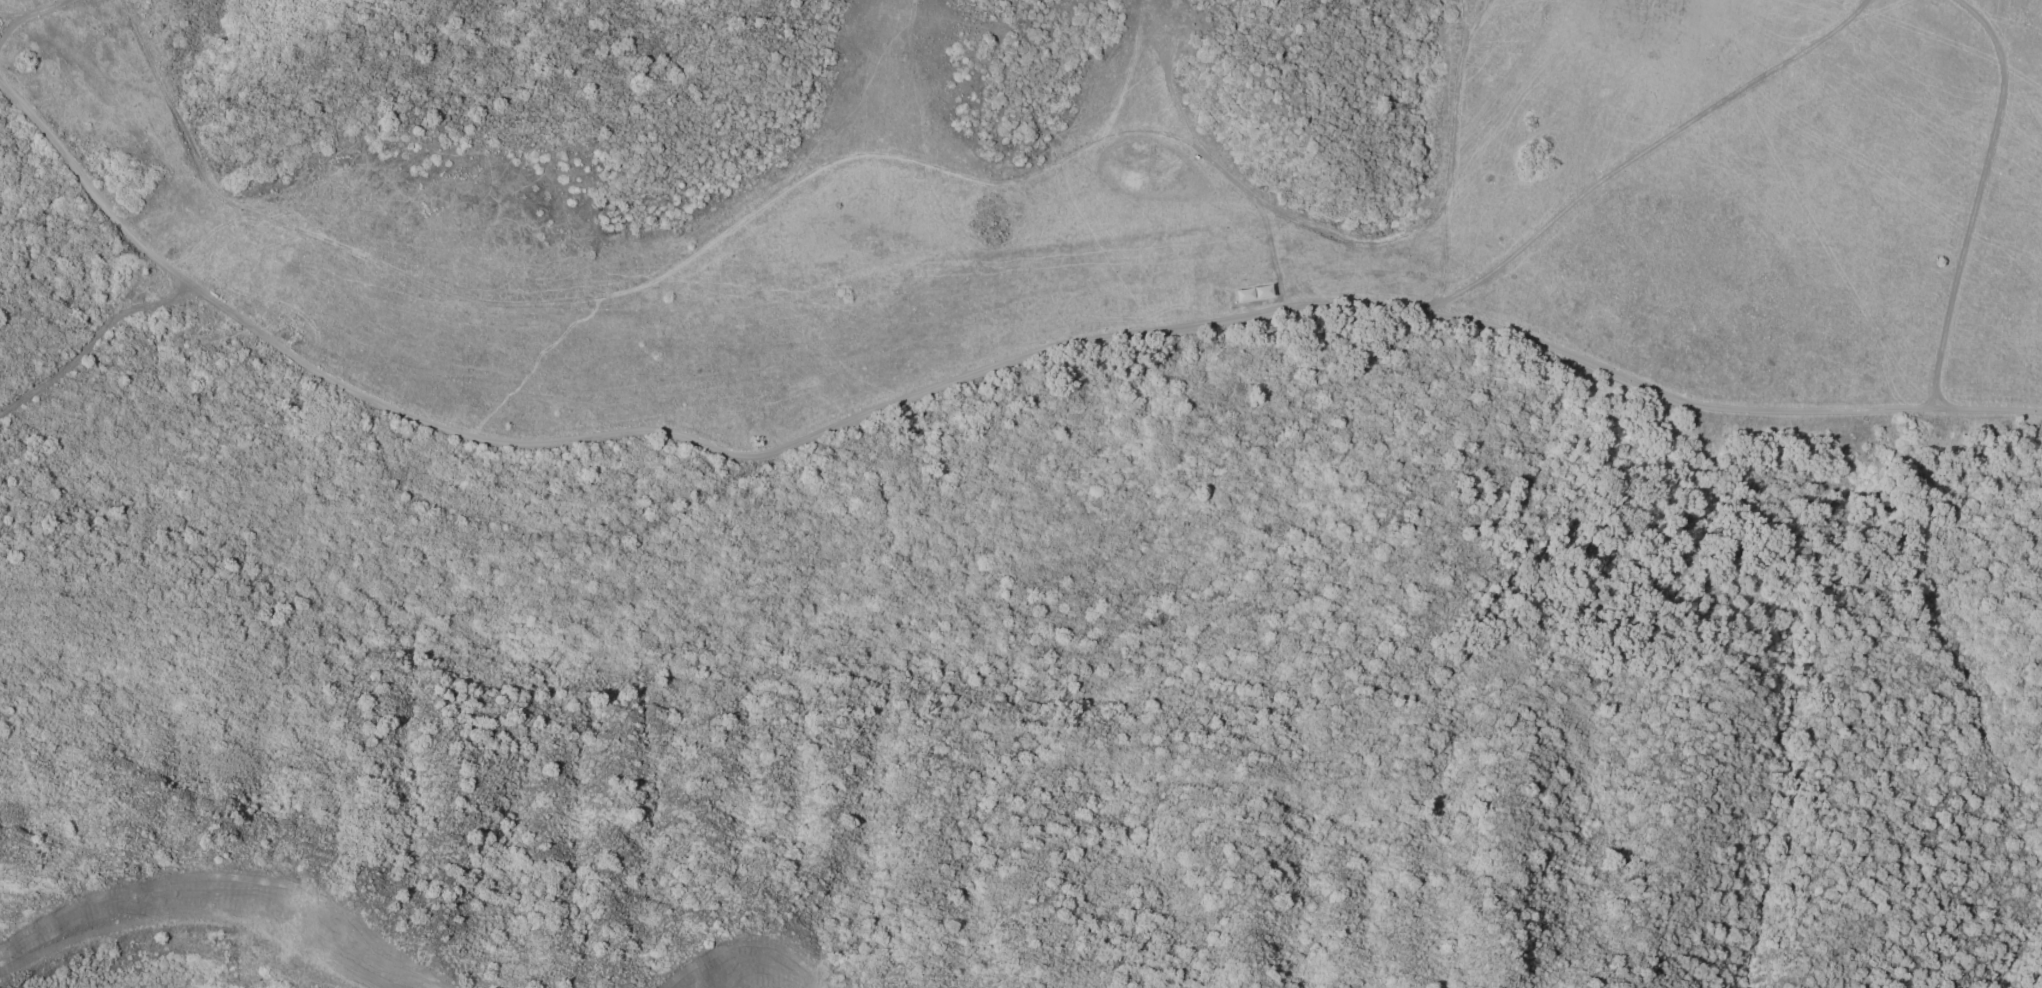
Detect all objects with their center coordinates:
road: (41, 8)
road: (12, 14)
road: (12, 28)
road: (959, 376)

